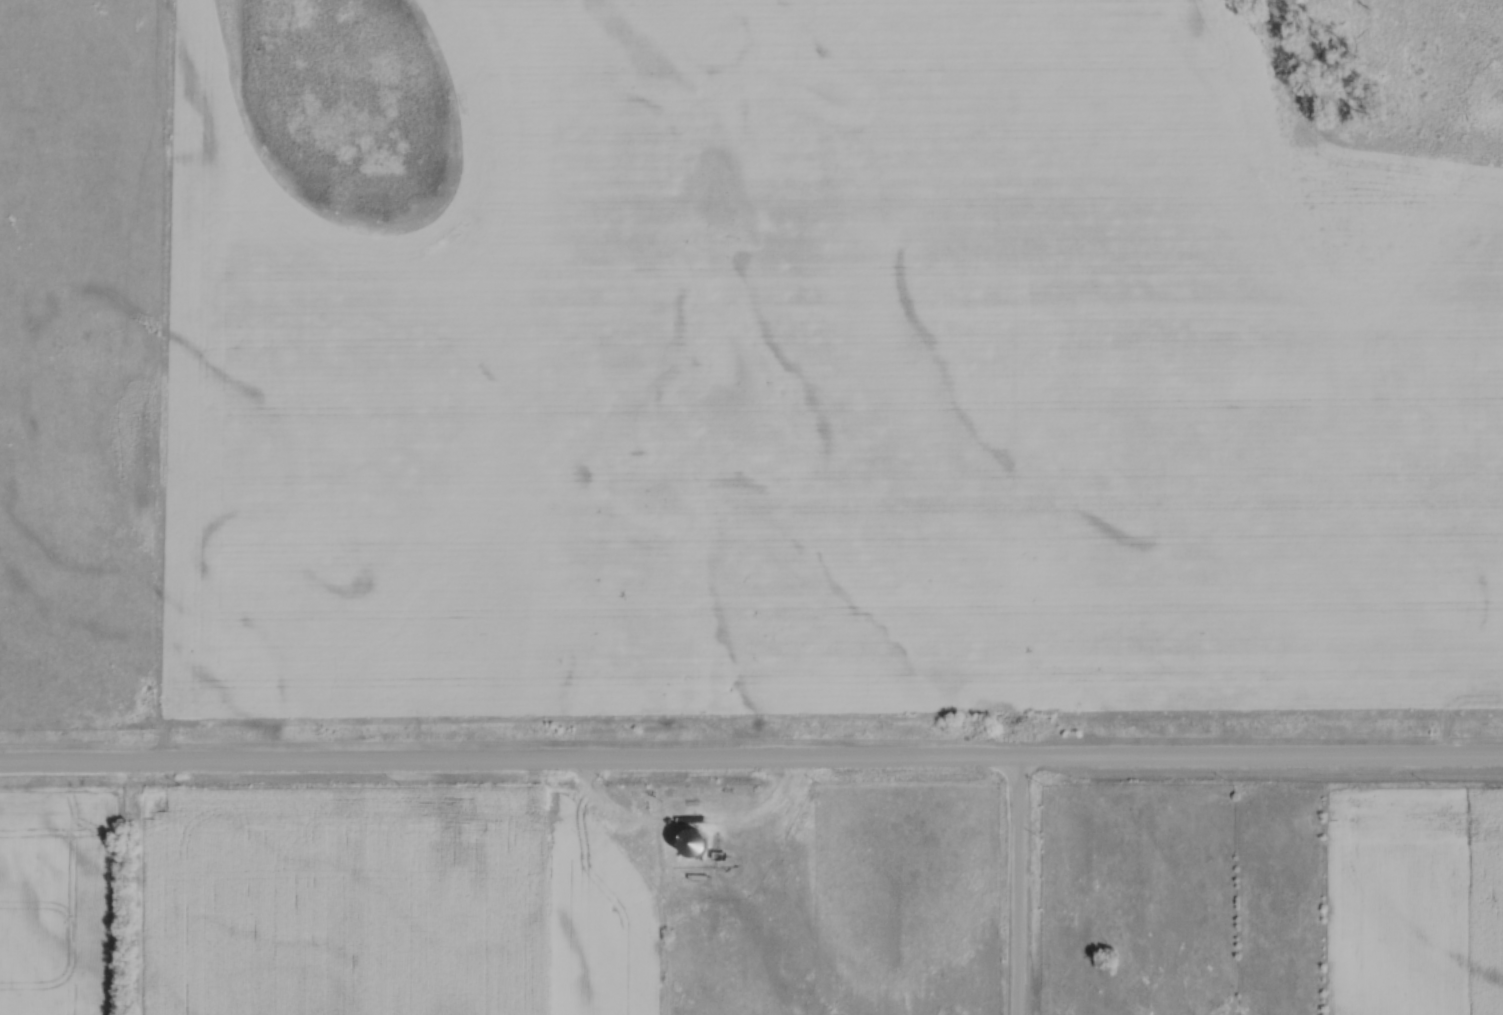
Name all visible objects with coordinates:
road: (751, 763)
road: (1017, 888)

